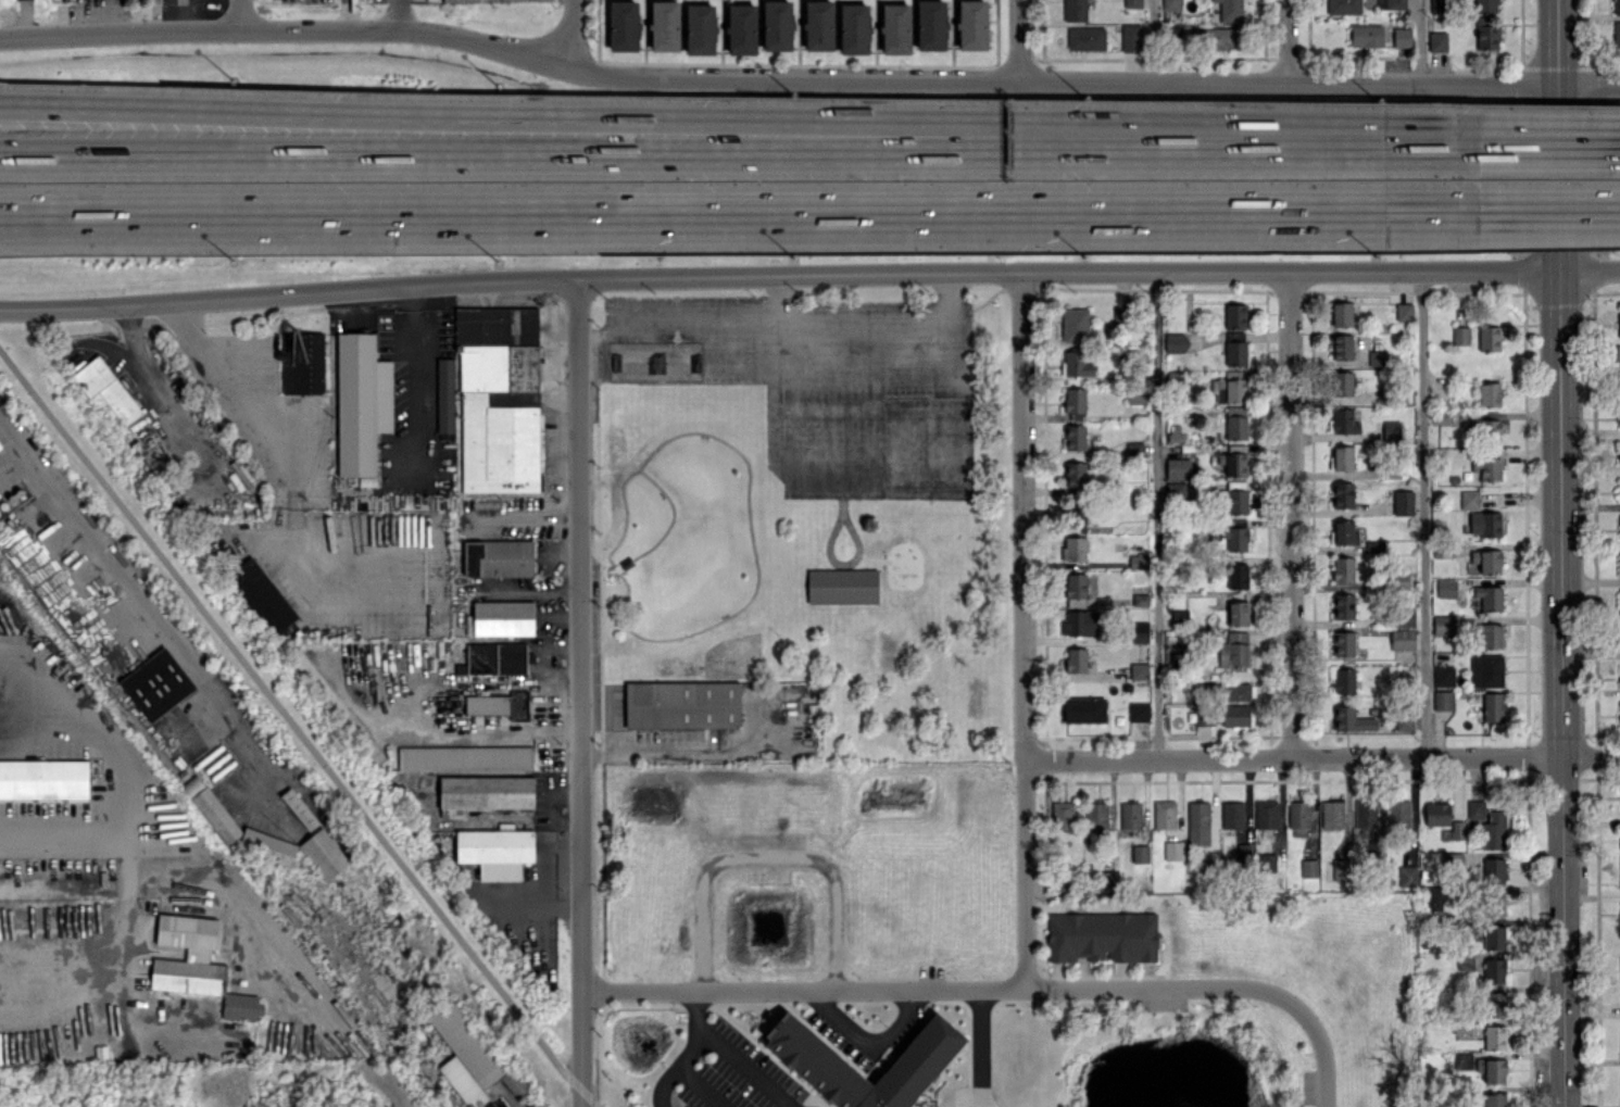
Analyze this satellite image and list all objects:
building: (495, 0)
building: (1133, 3)
building: (1391, 3)
building: (1171, 4)
building: (1439, 5)
building: (1486, 5)
building: (1344, 7)
building: (1617, 7)
building: (1075, 10)
building: (1230, 10)
road: (239, 14)
building: (971, 24)
building: (624, 25)
building: (664, 25)
building: (777, 25)
building: (818, 25)
building: (931, 25)
building: (700, 28)
building: (741, 28)
building: (854, 28)
building: (895, 28)
road: (304, 30)
building: (1486, 33)
road: (570, 34)
building: (1366, 35)
building: (1130, 37)
building: (1402, 37)
building: (1085, 38)
building: (1219, 38)
building: (1617, 38)
building: (1437, 41)
road: (1021, 42)
road: (1286, 42)
road: (1143, 43)
road: (1416, 45)
road: (1112, 86)
road: (593, 117)
road: (1331, 142)
road: (1548, 142)
road: (592, 153)
road: (1555, 211)
road: (744, 216)
road: (808, 274)
road: (949, 299)
road: (780, 302)
building: (1404, 311)
building: (1341, 314)
building: (1234, 315)
building: (1118, 317)
road: (128, 319)
building: (1075, 325)
building: (1618, 326)
road: (764, 329)
building: (1460, 336)
building: (1489, 338)
building: (1176, 342)
building: (1342, 347)
building: (1236, 353)
building: (1618, 353)
building: (1377, 357)
road: (142, 362)
building: (302, 362)
building: (1077, 364)
parking lot: (819, 375)
building: (1342, 383)
building: (105, 389)
building: (1490, 393)
building: (445, 394)
building: (499, 398)
building: (1075, 400)
building: (361, 402)
road: (897, 406)
building: (1344, 422)
building: (1235, 427)
building: (1392, 429)
building: (1490, 429)
building: (1073, 437)
building: (0, 448)
building: (738, 451)
road: (288, 455)
building: (1342, 457)
building: (1233, 464)
building: (1486, 467)
building: (1178, 468)
road: (822, 471)
building: (1075, 475)
road: (645, 480)
building: (1619, 492)
building: (1342, 494)
building: (1470, 500)
park: (812, 502)
building: (1236, 502)
building: (1403, 502)
building: (1073, 511)
road: (1156, 514)
road: (1292, 514)
road: (1423, 514)
building: (1619, 520)
building: (1485, 524)
road: (75, 530)
building: (1344, 532)
building: (1235, 536)
building: (1374, 546)
building: (1073, 549)
road: (829, 551)
road: (1564, 553)
building: (498, 558)
building: (1486, 561)
building: (1139, 562)
building: (1619, 563)
building: (1343, 569)
building: (1236, 576)
building: (1401, 580)
building: (842, 586)
building: (1446, 588)
building: (1077, 590)
building: (262, 595)
building: (1489, 597)
building: (1140, 599)
building: (1619, 601)
road: (676, 603)
building: (1343, 606)
building: (1238, 613)
building: (1404, 617)
building: (503, 618)
building: (1080, 622)
building: (1443, 625)
road: (1022, 627)
building: (1140, 631)
building: (1491, 636)
building: (1403, 638)
building: (1343, 643)
building: (1233, 650)
building: (493, 658)
building: (1073, 661)
building: (1139, 670)
building: (1486, 670)
building: (1443, 676)
building: (1344, 680)
building: (156, 683)
road: (579, 683)
building: (1236, 691)
building: (1443, 700)
building: (681, 704)
building: (499, 705)
building: (1493, 706)
building: (1084, 709)
building: (1139, 710)
building: (1222, 716)
building: (1351, 719)
road: (289, 720)
road: (466, 721)
building: (1404, 722)
road: (608, 728)
road: (661, 752)
building: (465, 757)
road: (1321, 757)
building: (43, 779)
building: (486, 792)
road: (136, 793)
building: (299, 808)
building: (211, 809)
building: (1164, 814)
building: (1266, 814)
building: (1332, 814)
building: (1398, 814)
building: (1437, 814)
building: (1062, 815)
building: (1096, 815)
building: (1130, 815)
building: (1232, 815)
building: (1365, 817)
building: (1298, 818)
building: (1198, 822)
building: (1489, 823)
building: (1458, 829)
building: (266, 846)
building: (1173, 851)
building: (495, 852)
building: (1140, 853)
building: (324, 854)
road: (766, 860)
building: (1266, 861)
building: (1308, 868)
building: (1341, 869)
building: (1494, 869)
building: (1407, 876)
building: (1105, 880)
road: (527, 890)
building: (1434, 897)
building: (1495, 903)
building: (1102, 936)
building: (1493, 938)
road: (114, 943)
building: (188, 956)
building: (1465, 960)
building: (1494, 970)
road: (994, 981)
road: (692, 1002)
building: (1495, 1004)
building: (241, 1006)
road: (53, 1012)
road: (864, 1026)
building: (1495, 1037)
road: (975, 1043)
building: (465, 1055)
road: (660, 1060)
road: (742, 1062)
building: (820, 1067)
building: (1494, 1070)
road: (704, 1078)
building: (514, 1082)
road: (581, 1098)
road: (589, 1098)
building: (1495, 1099)

